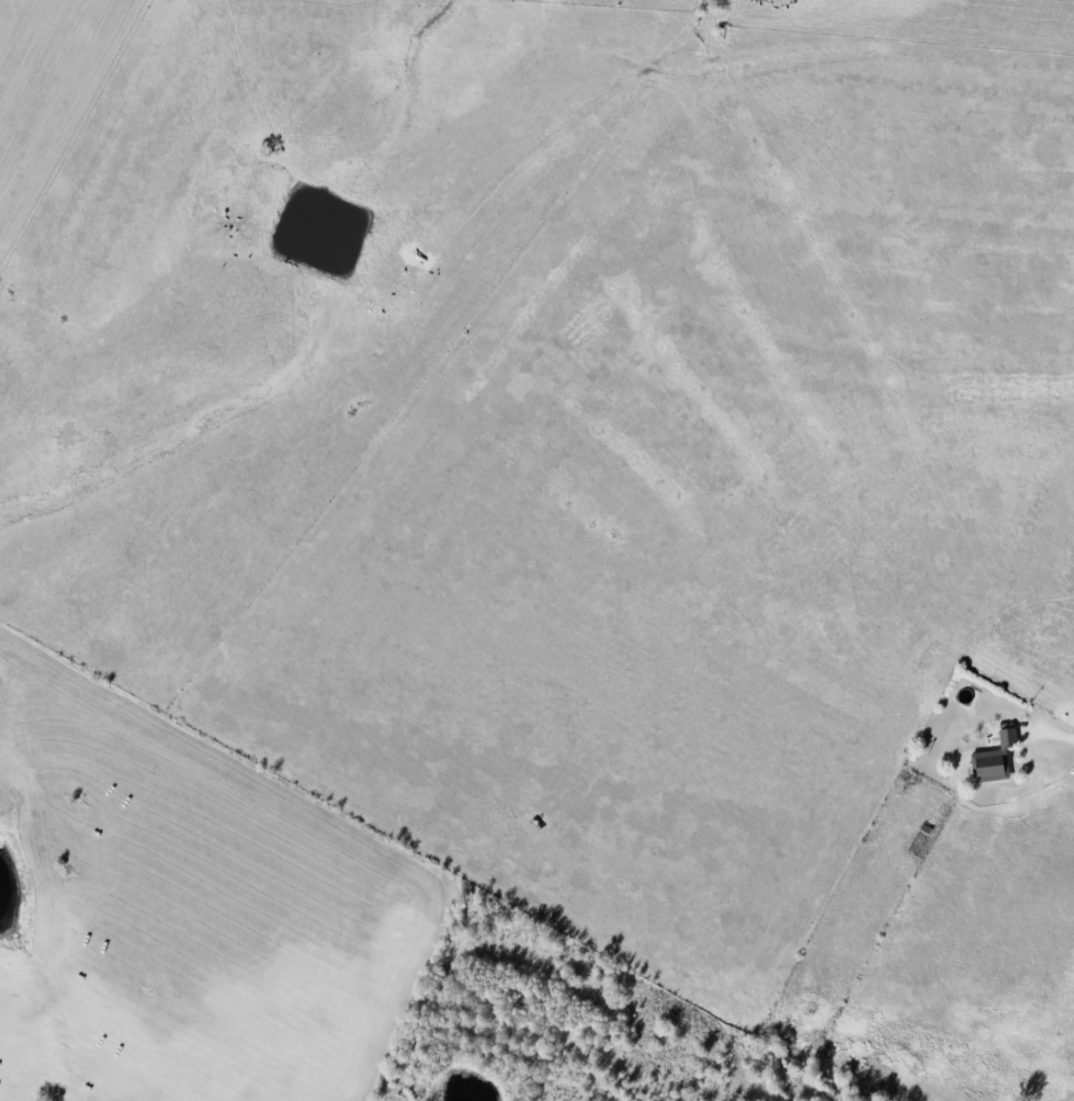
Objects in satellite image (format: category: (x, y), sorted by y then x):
road: (1055, 736)
building: (995, 758)

